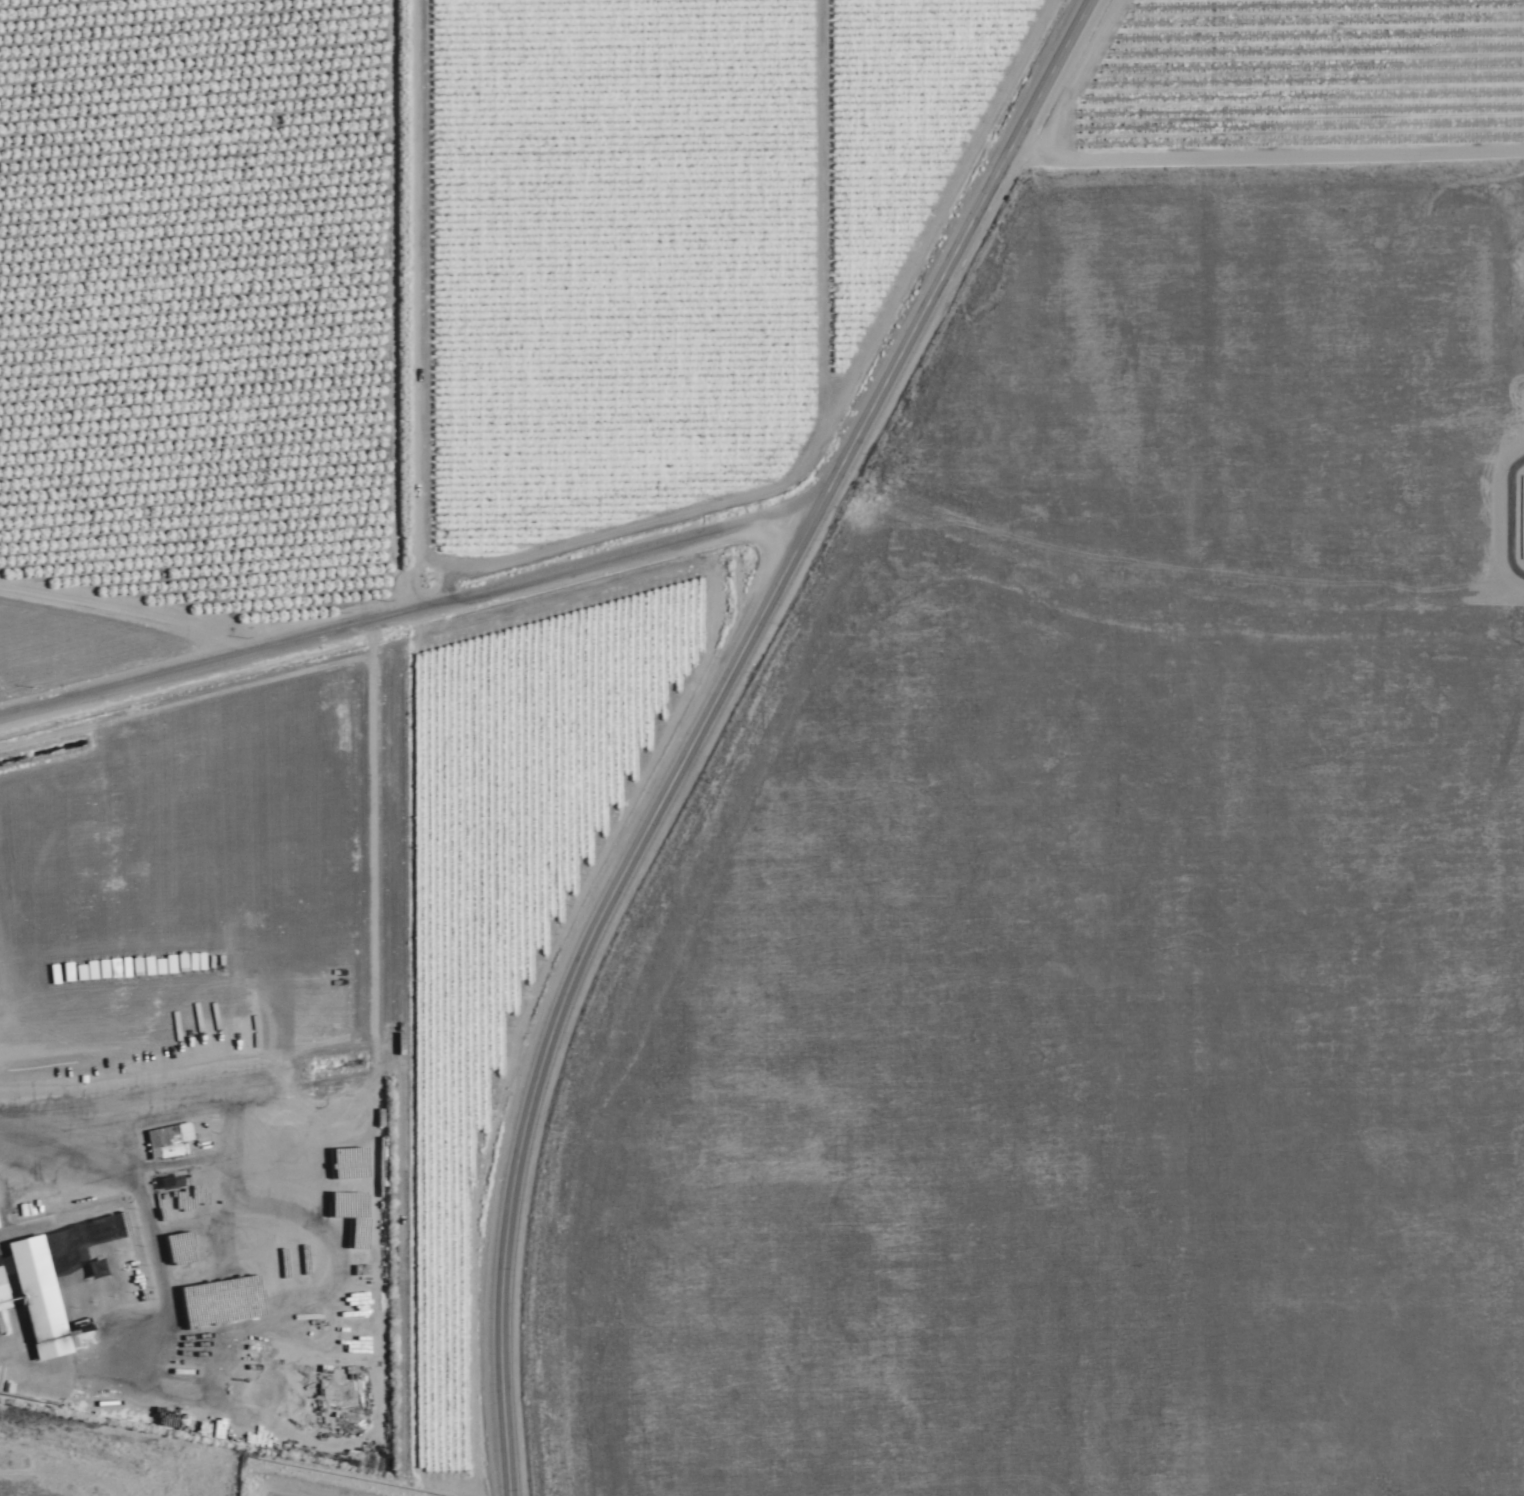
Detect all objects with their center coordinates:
road: (403, 141)
road: (1257, 194)
road: (409, 615)
road: (143, 618)
road: (707, 720)
crop: (798, 720)
building: (169, 1139)
building: (48, 1271)
wastewater plant: (328, 1294)

